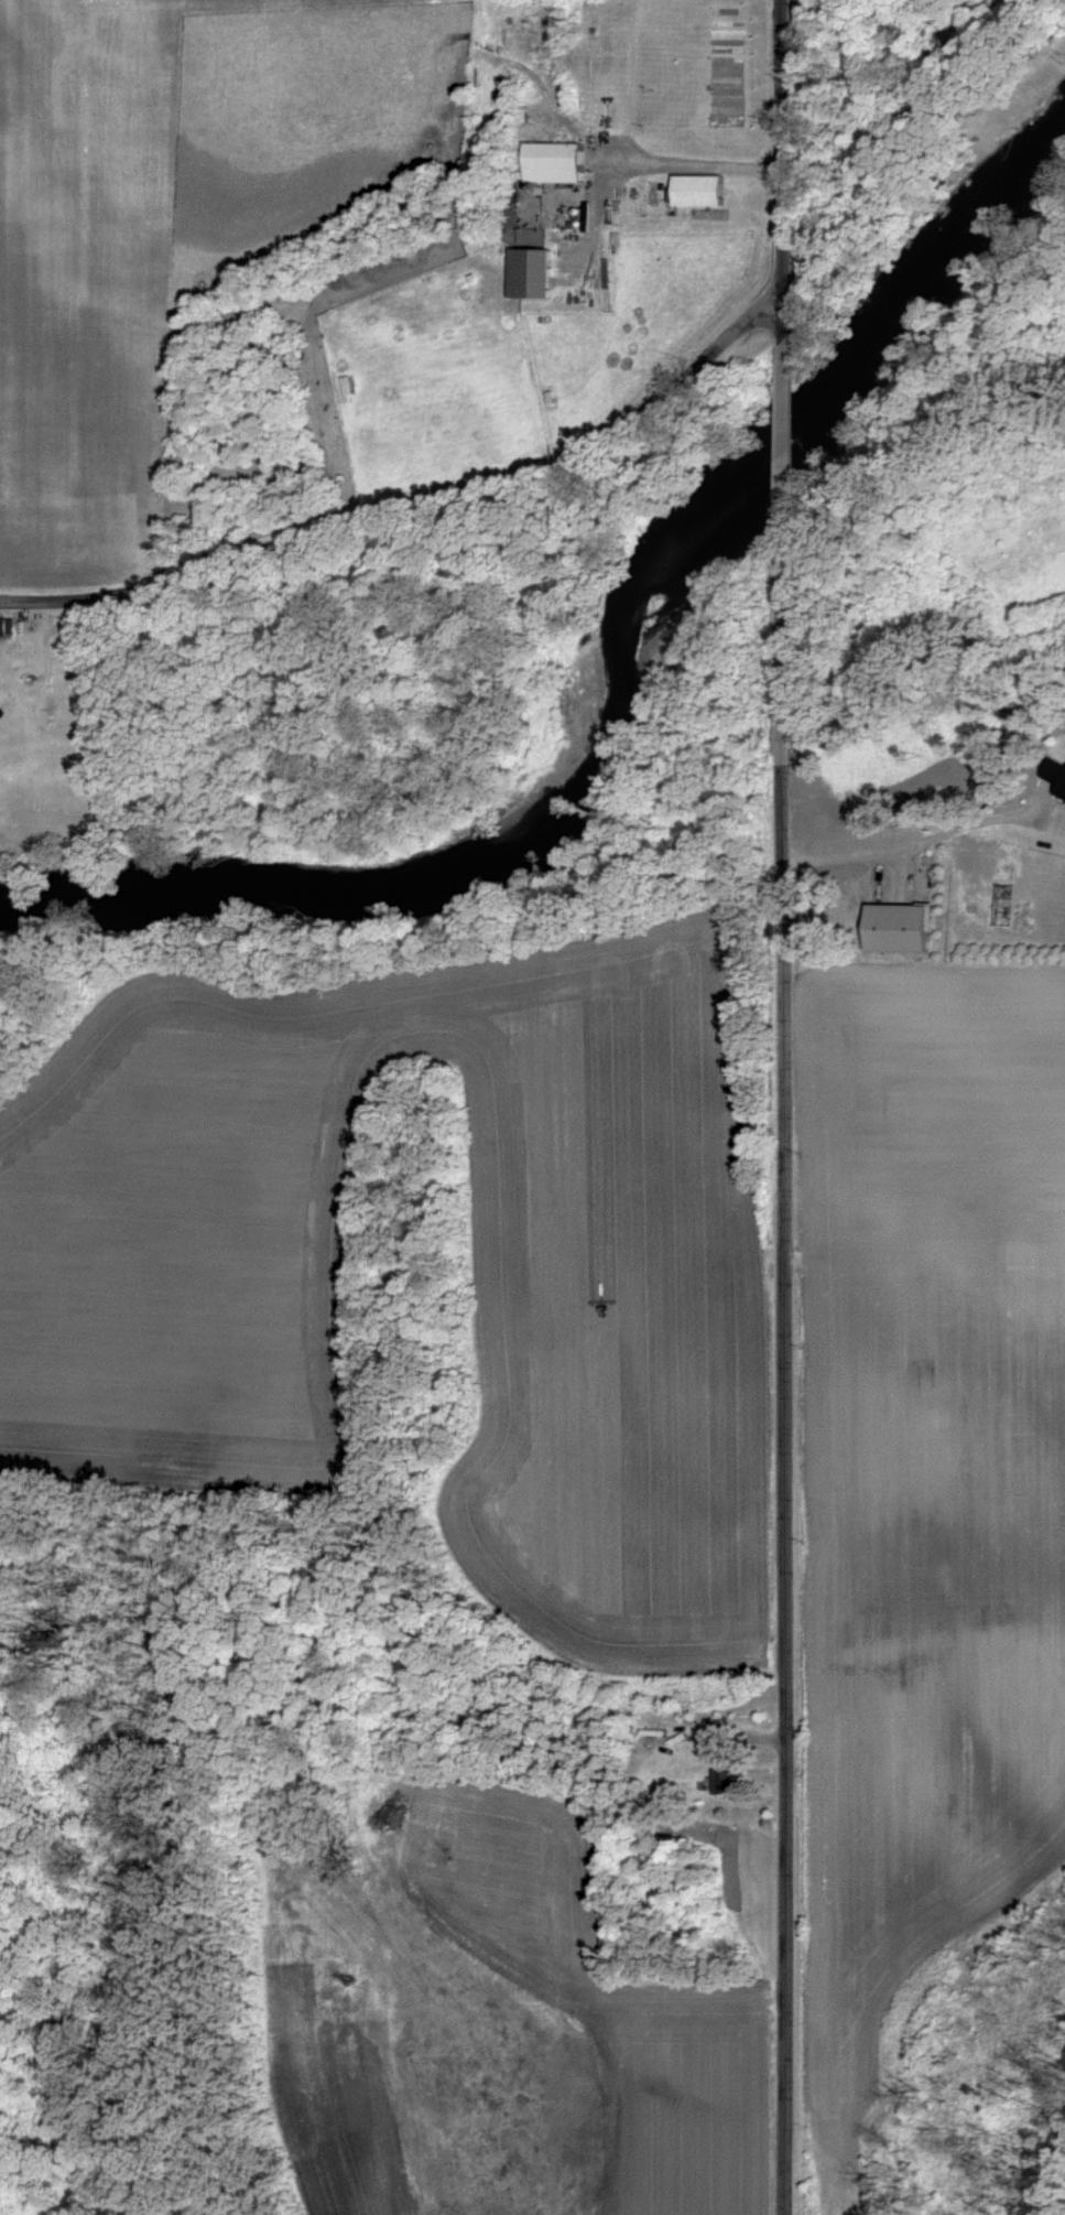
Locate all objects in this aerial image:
building: (551, 162)
road: (688, 163)
road: (772, 171)
building: (696, 191)
building: (526, 273)
road: (778, 453)
road: (405, 499)
building: (6, 627)
river: (620, 692)
building: (1055, 775)
road: (923, 845)
building: (895, 928)
road: (784, 1389)
building: (726, 1780)

